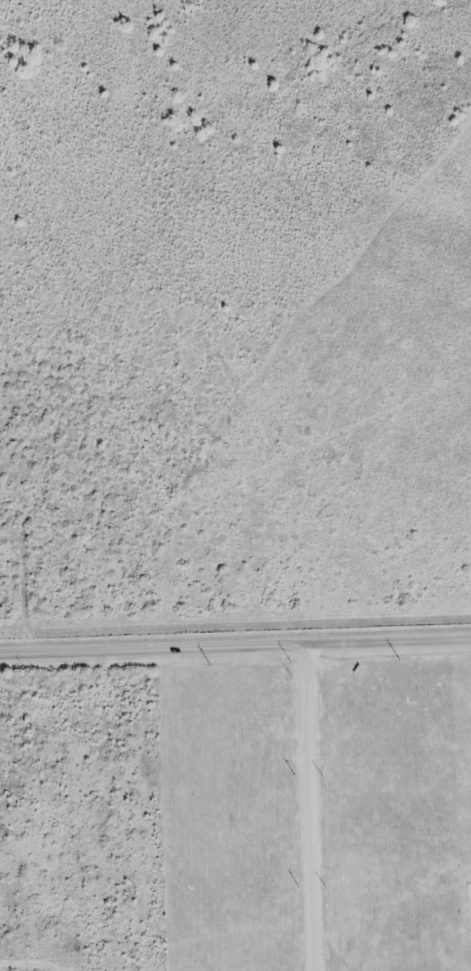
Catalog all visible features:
road: (235, 646)

